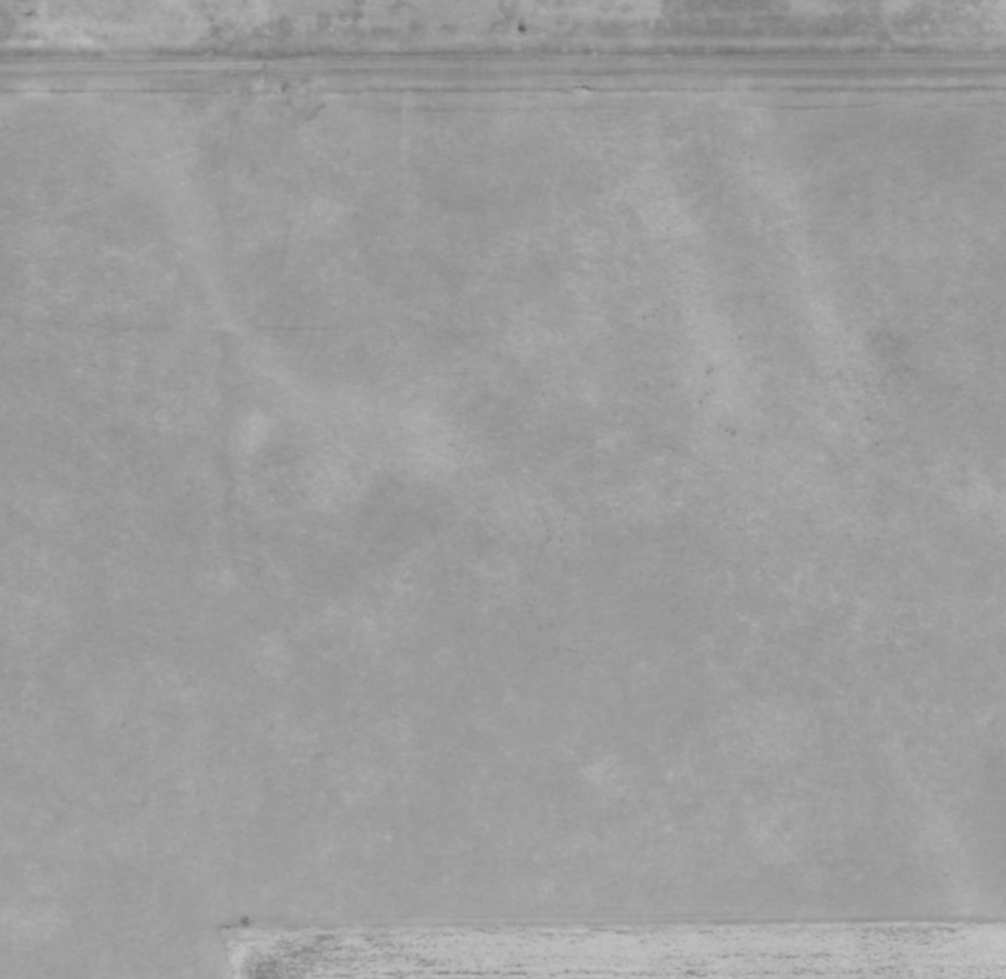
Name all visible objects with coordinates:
road: (502, 61)

